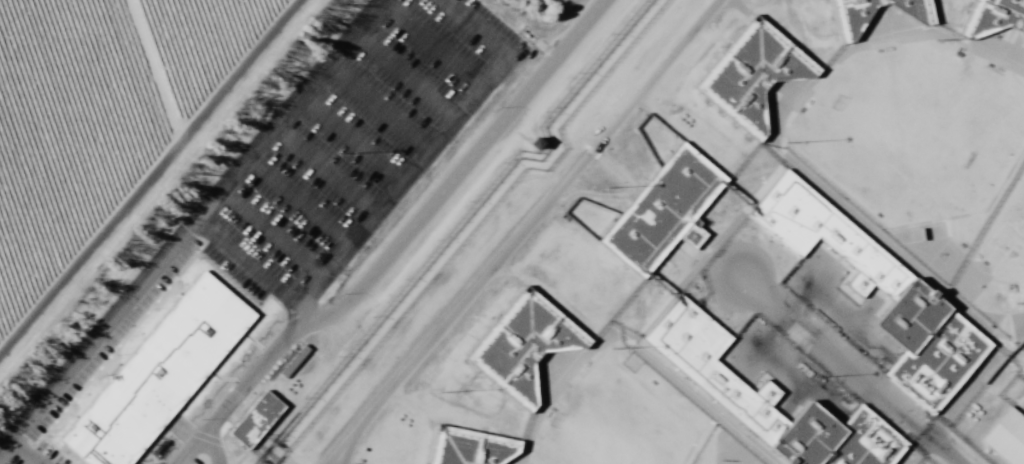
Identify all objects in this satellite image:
building: (848, 13)
building: (992, 17)
road: (479, 28)
road: (436, 44)
building: (747, 74)
road: (407, 75)
crop: (87, 105)
road: (379, 109)
road: (353, 139)
building: (530, 143)
road: (325, 171)
road: (154, 183)
road: (300, 201)
building: (662, 210)
road: (191, 225)
road: (273, 233)
road: (361, 233)
road: (399, 243)
building: (888, 279)
road: (301, 316)
building: (521, 344)
building: (1021, 368)
building: (155, 374)
building: (711, 379)
building: (254, 419)
building: (1005, 437)
building: (467, 446)
road: (214, 447)
road: (26, 450)

